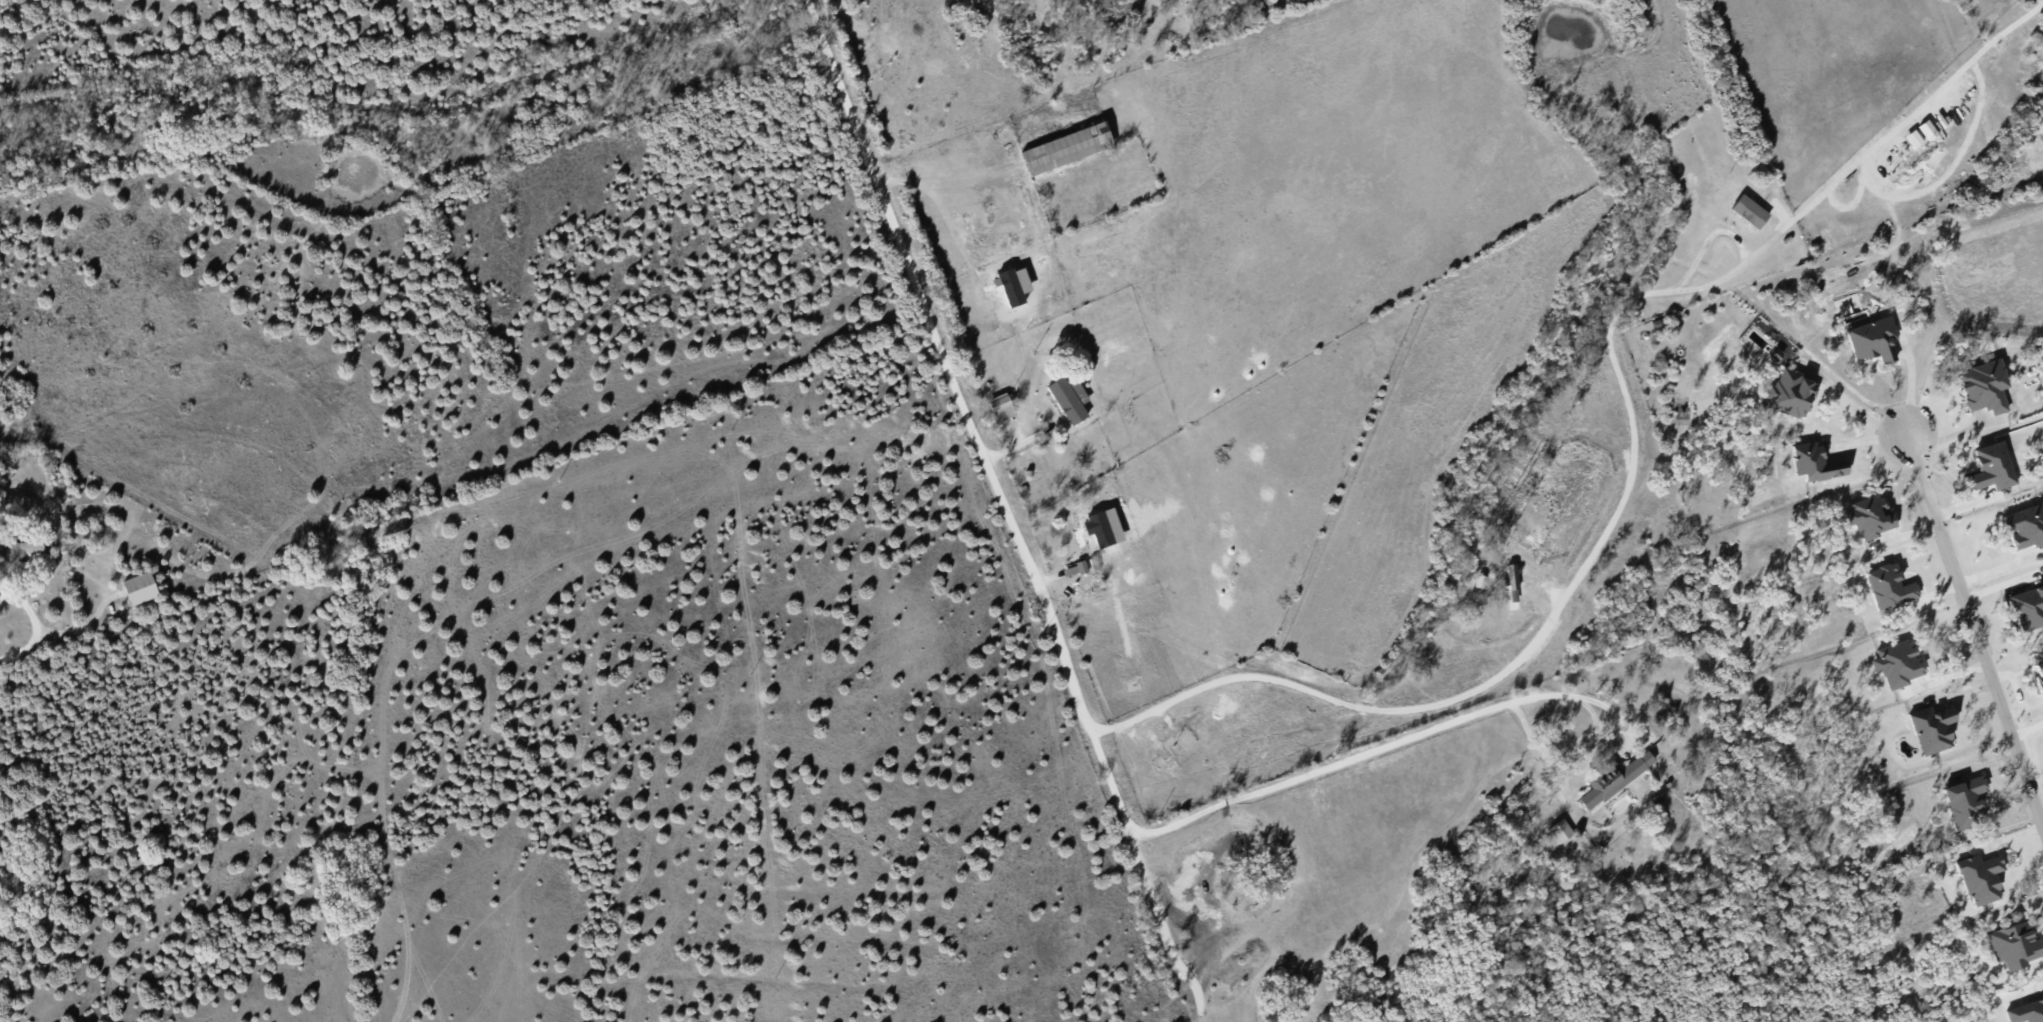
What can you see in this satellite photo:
building: (1066, 148)
road: (945, 204)
building: (1749, 211)
road: (947, 367)
building: (1984, 386)
building: (1791, 393)
building: (1069, 399)
building: (1002, 406)
road: (1862, 412)
road: (1633, 458)
building: (1815, 462)
building: (1870, 515)
building: (1076, 521)
building: (2026, 526)
building: (25, 549)
building: (1074, 569)
building: (1889, 586)
building: (140, 587)
building: (1513, 587)
road: (33, 621)
road: (1975, 630)
building: (2039, 662)
building: (1897, 663)
building: (1931, 728)
road: (1388, 743)
building: (1161, 749)
building: (1614, 778)
building: (1965, 801)
building: (1561, 830)
building: (1980, 878)
building: (2013, 945)
building: (2026, 1012)

